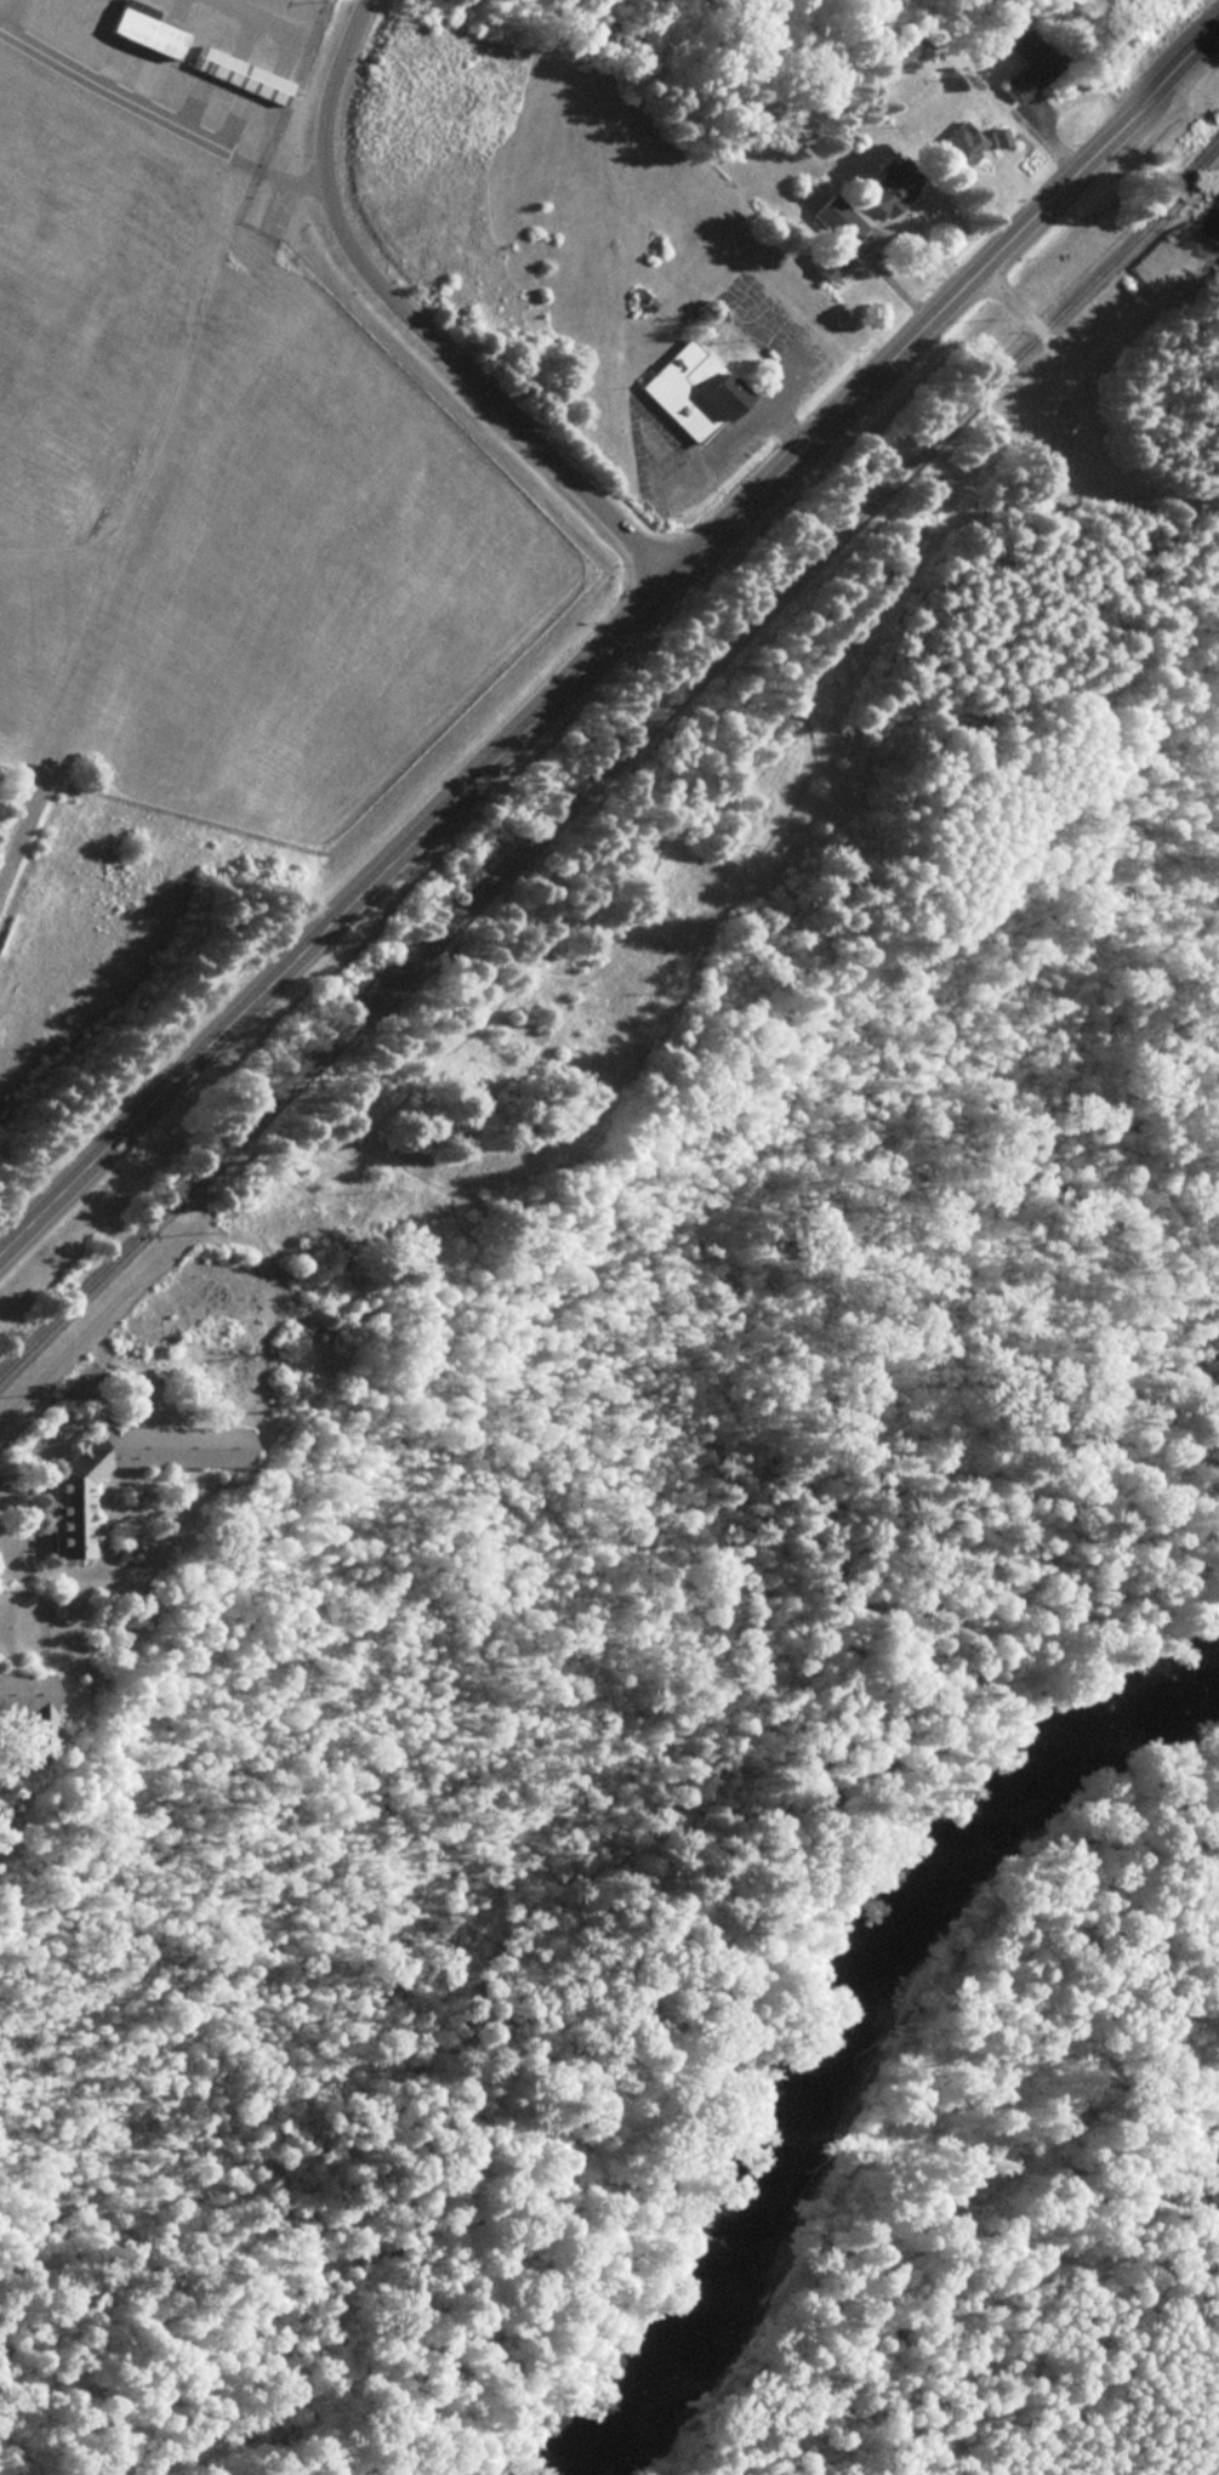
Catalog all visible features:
building: (141, 29)
building: (1027, 66)
building: (238, 76)
airport taxiway: (112, 92)
building: (957, 146)
building: (889, 183)
building: (832, 235)
road: (1137, 317)
road: (426, 324)
building: (688, 391)
road: (1084, 409)
park: (1078, 429)
road: (617, 645)
railway: (610, 761)
building: (69, 1490)
building: (25, 1706)
river: (860, 2036)
park: (995, 2164)

